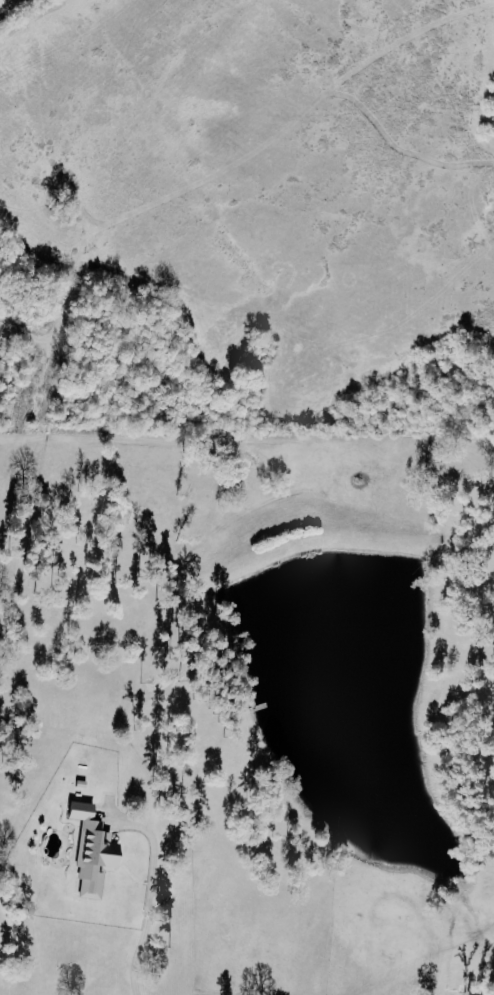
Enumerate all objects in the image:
road: (283, 254)
building: (95, 852)

